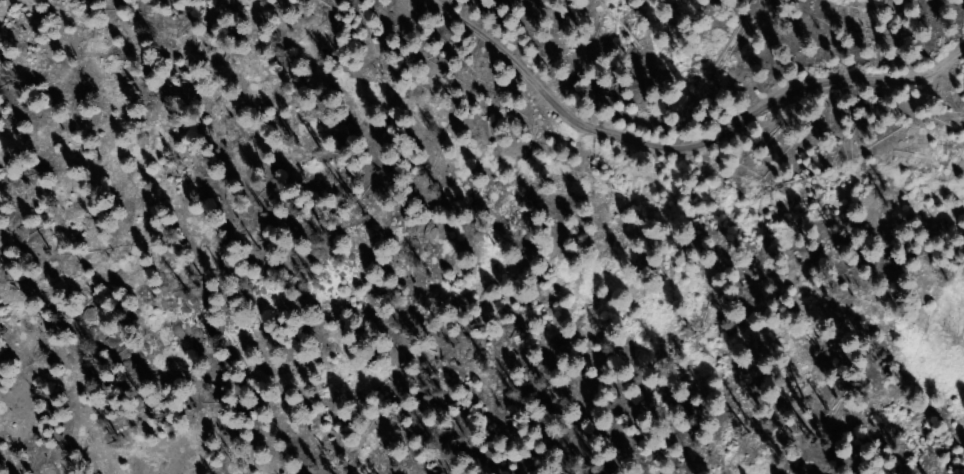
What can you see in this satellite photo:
road: (677, 147)

